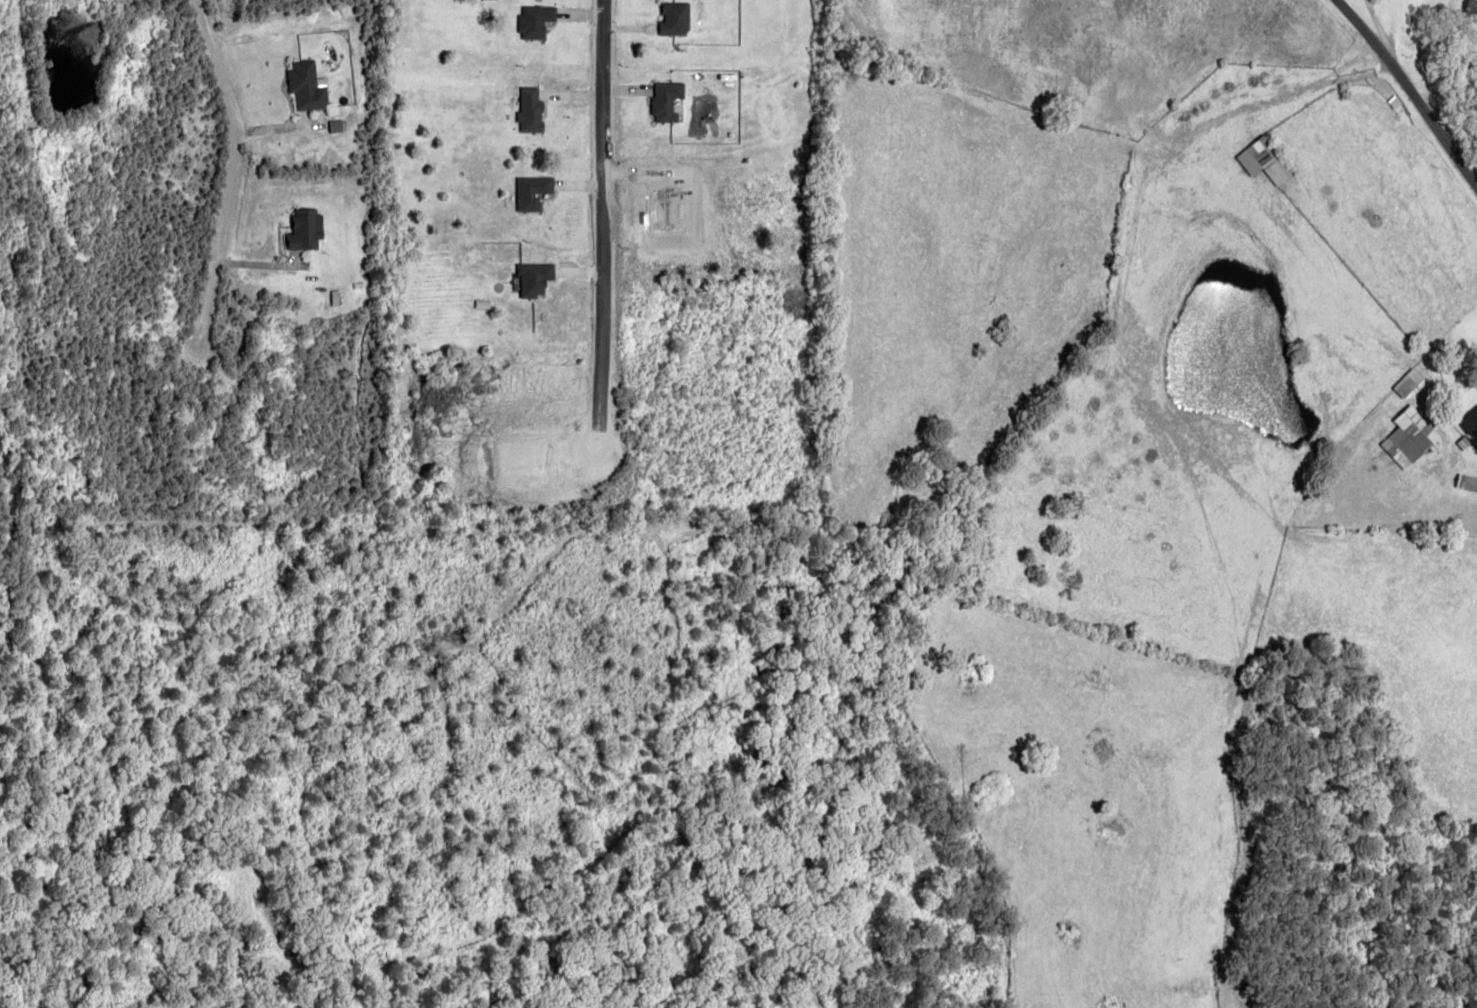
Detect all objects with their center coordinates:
building: (676, 18)
building: (536, 20)
building: (308, 85)
building: (668, 101)
road: (1386, 104)
building: (532, 109)
building: (1265, 161)
building: (533, 192)
building: (307, 229)
building: (535, 278)
building: (1410, 384)
building: (1469, 420)
building: (1410, 437)
building: (1467, 482)

